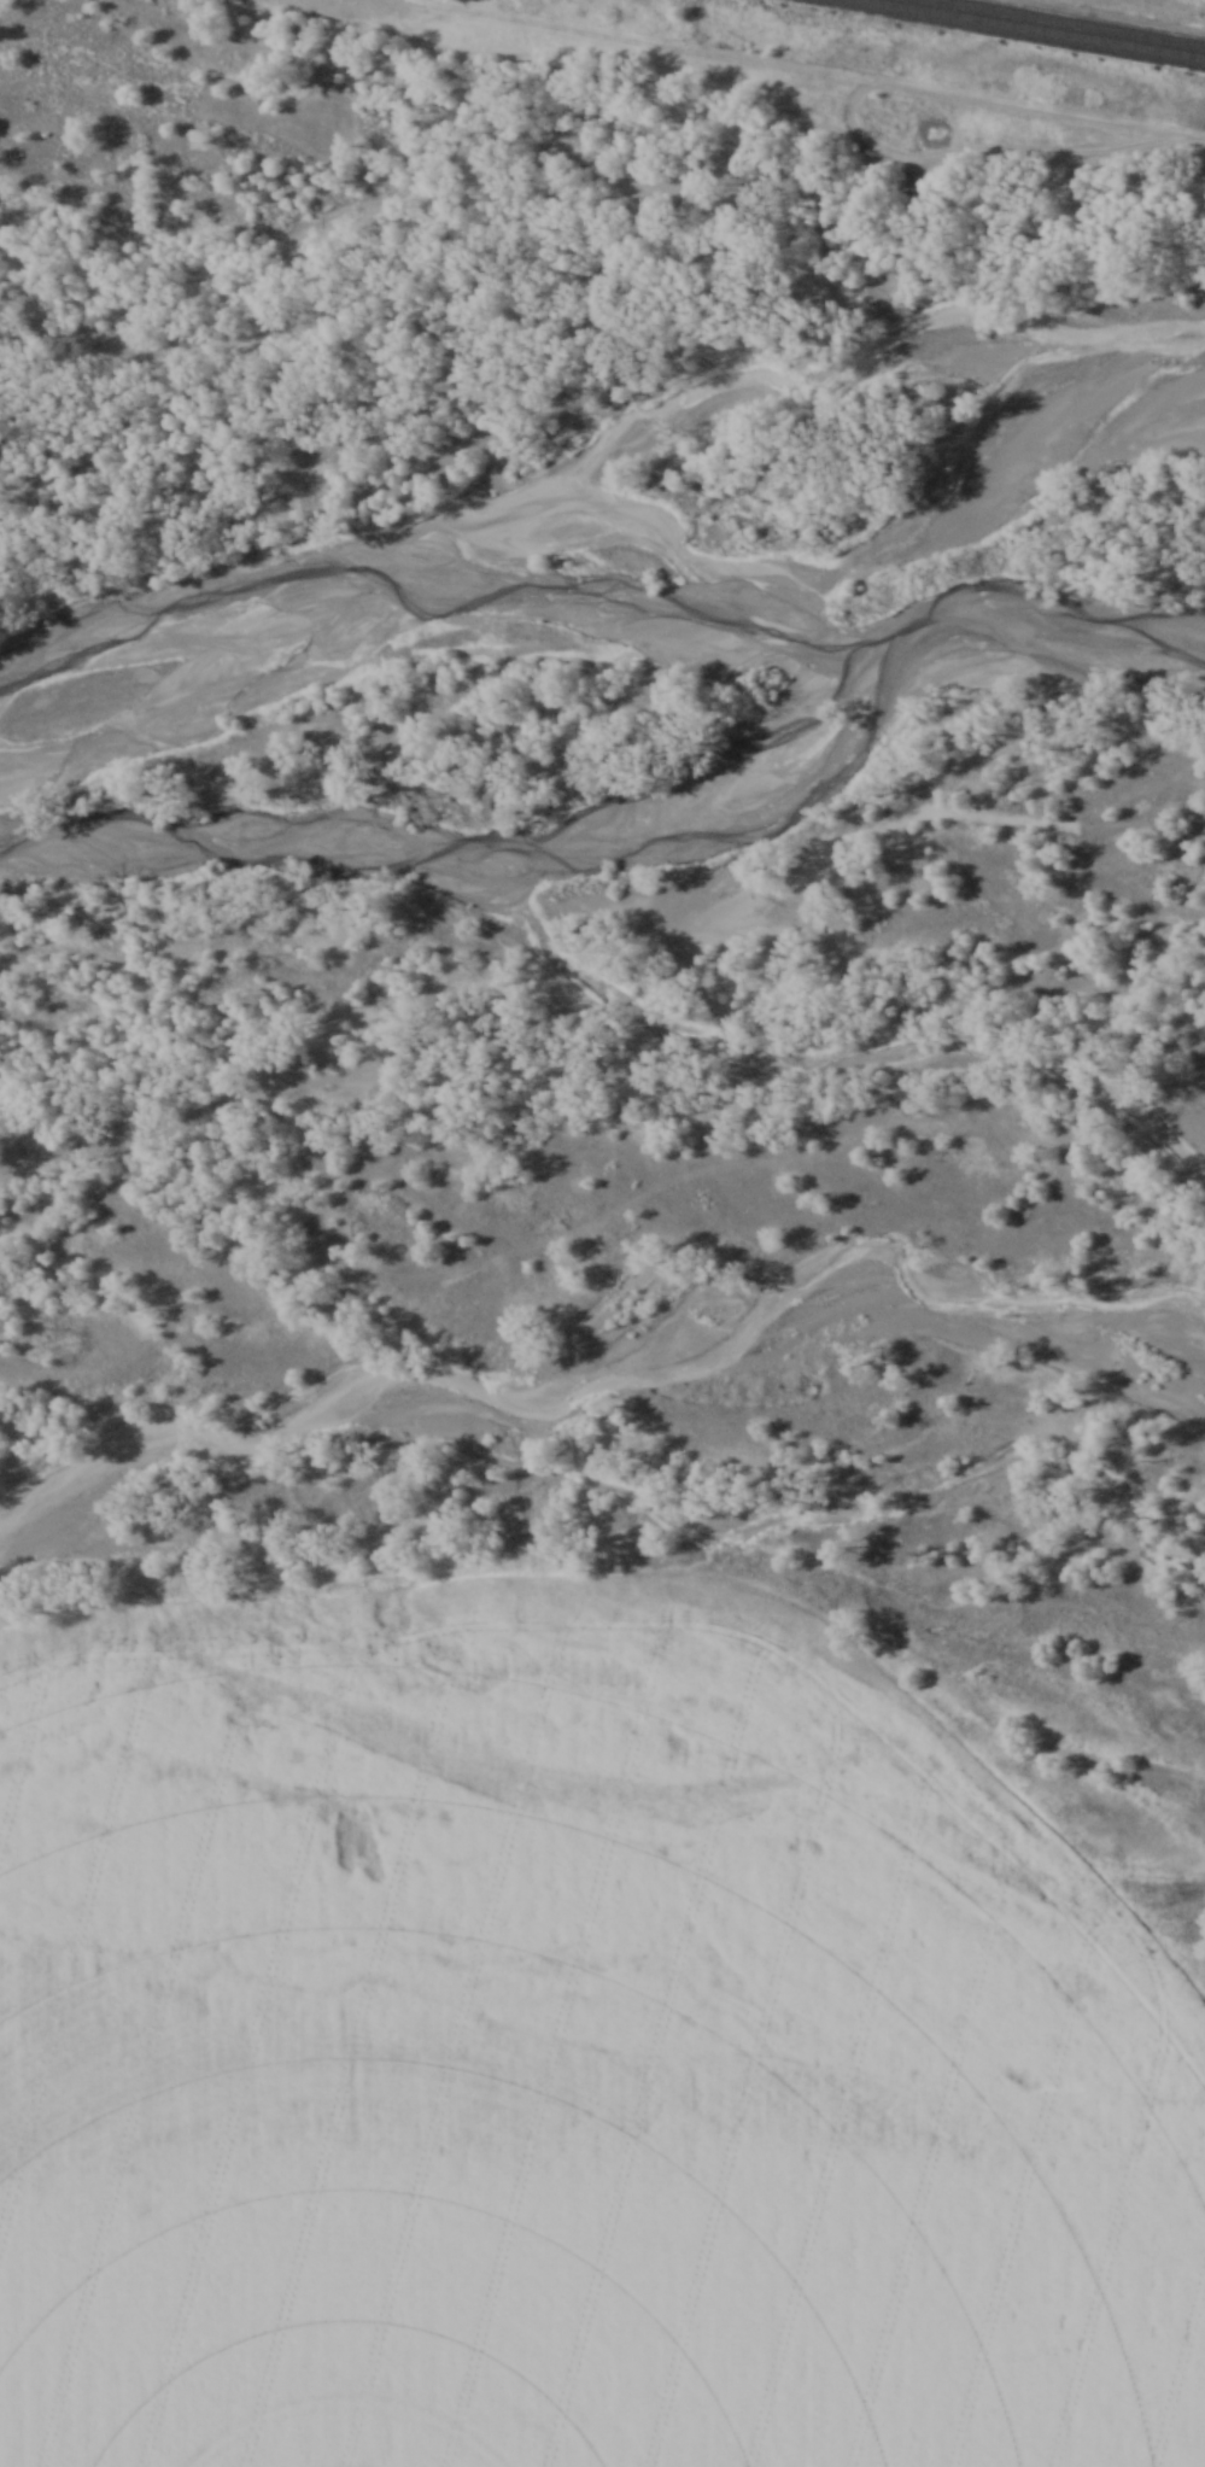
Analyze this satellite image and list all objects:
railway: (1069, 23)
railway: (1031, 30)
river: (580, 618)

